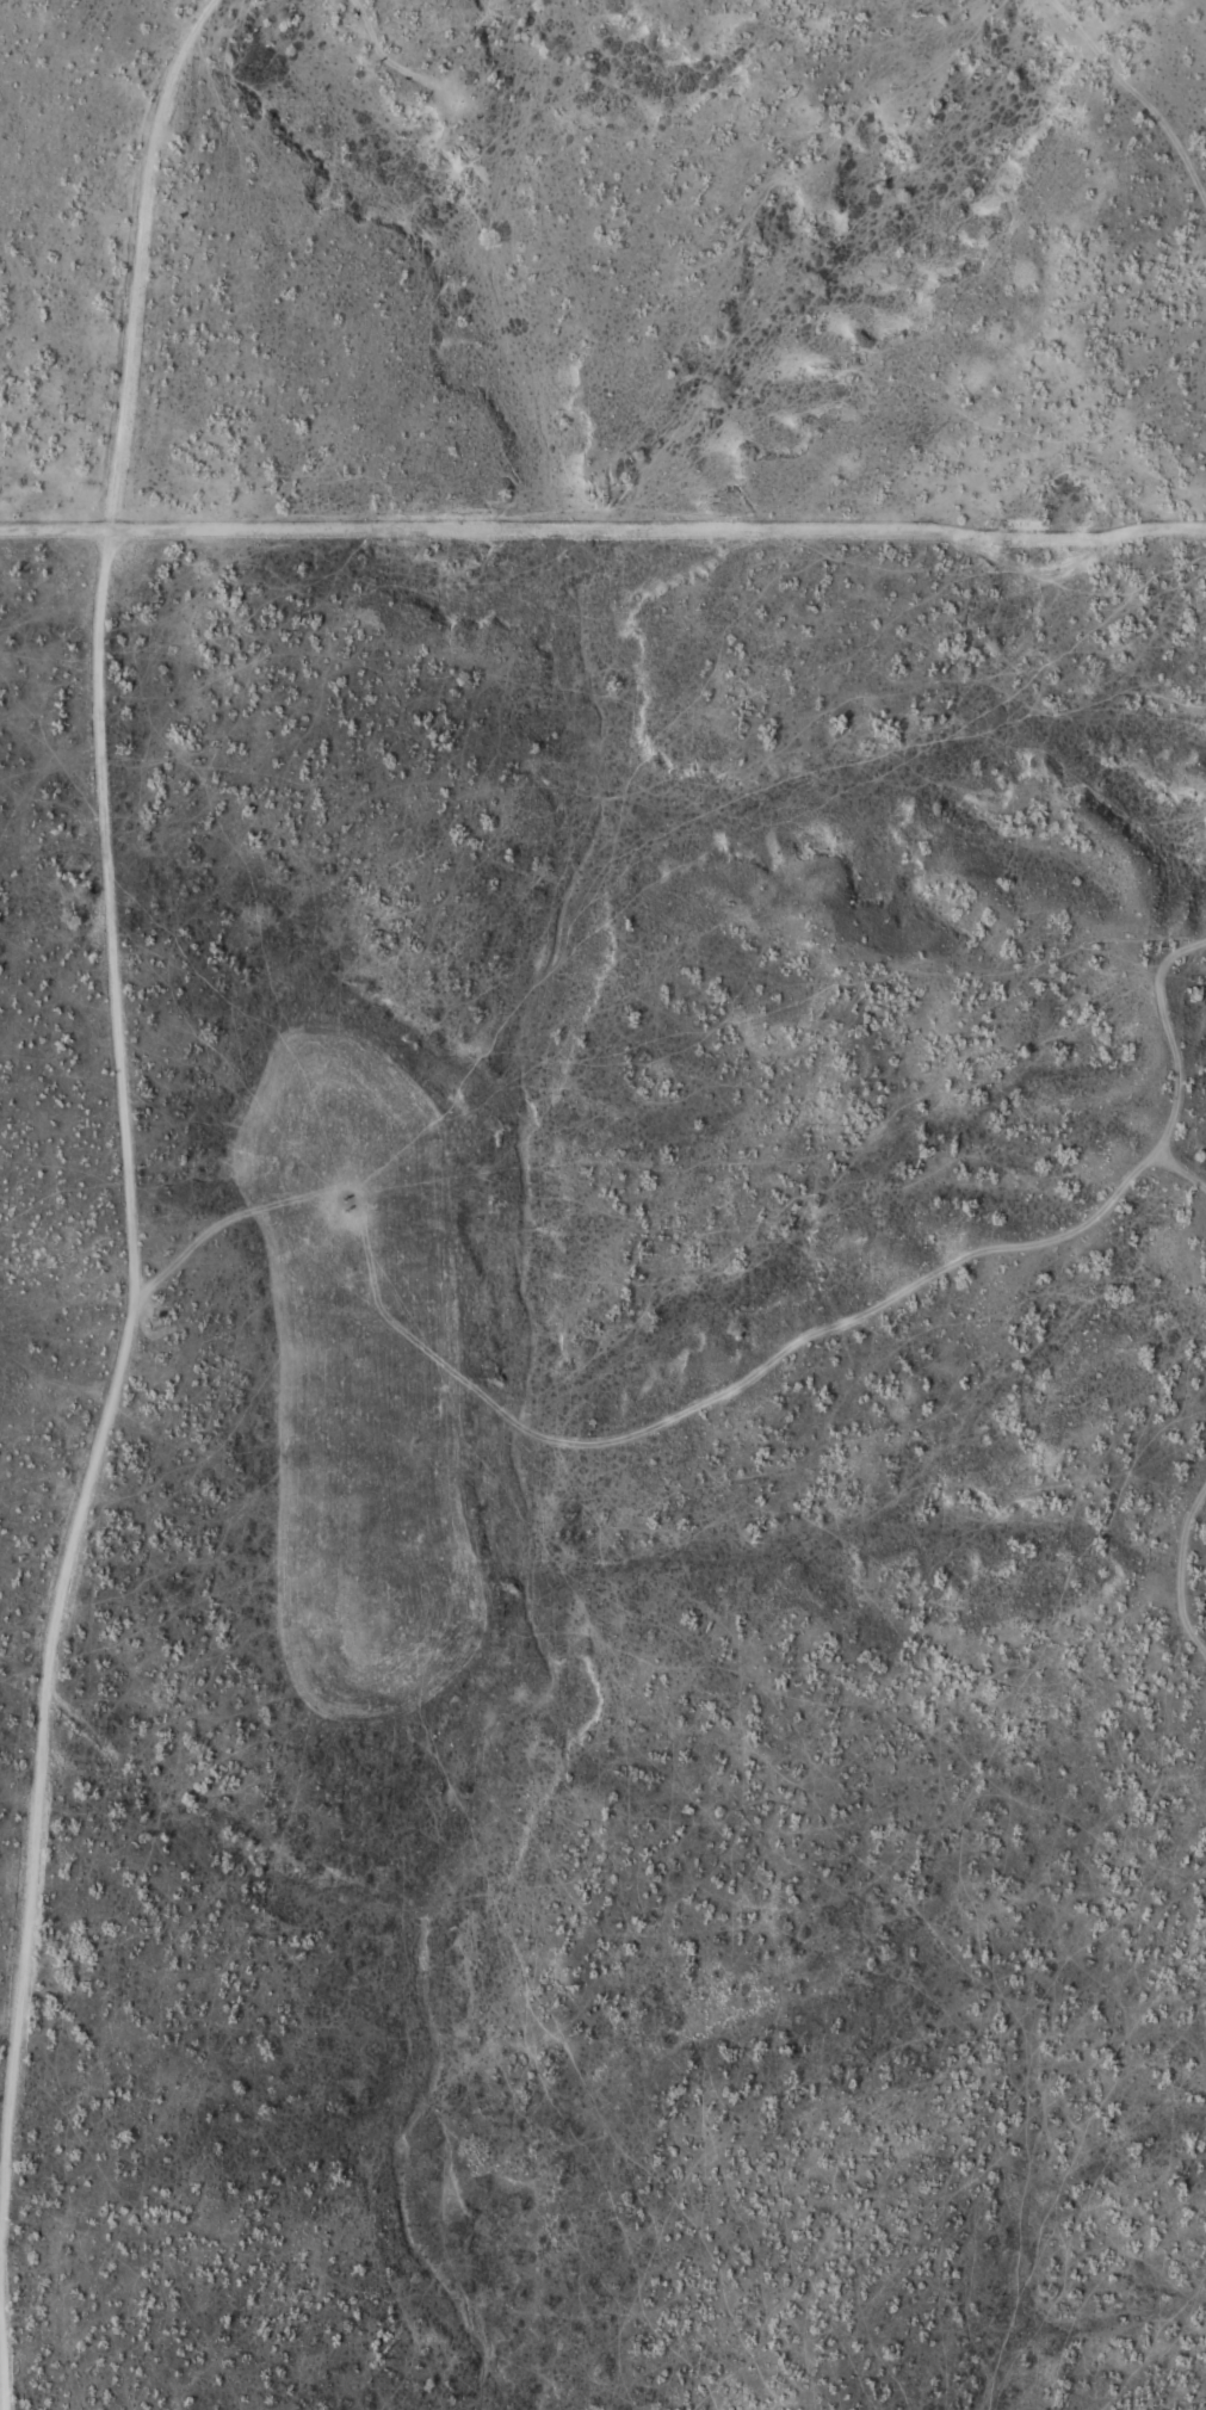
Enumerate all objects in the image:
road: (100, 994)

